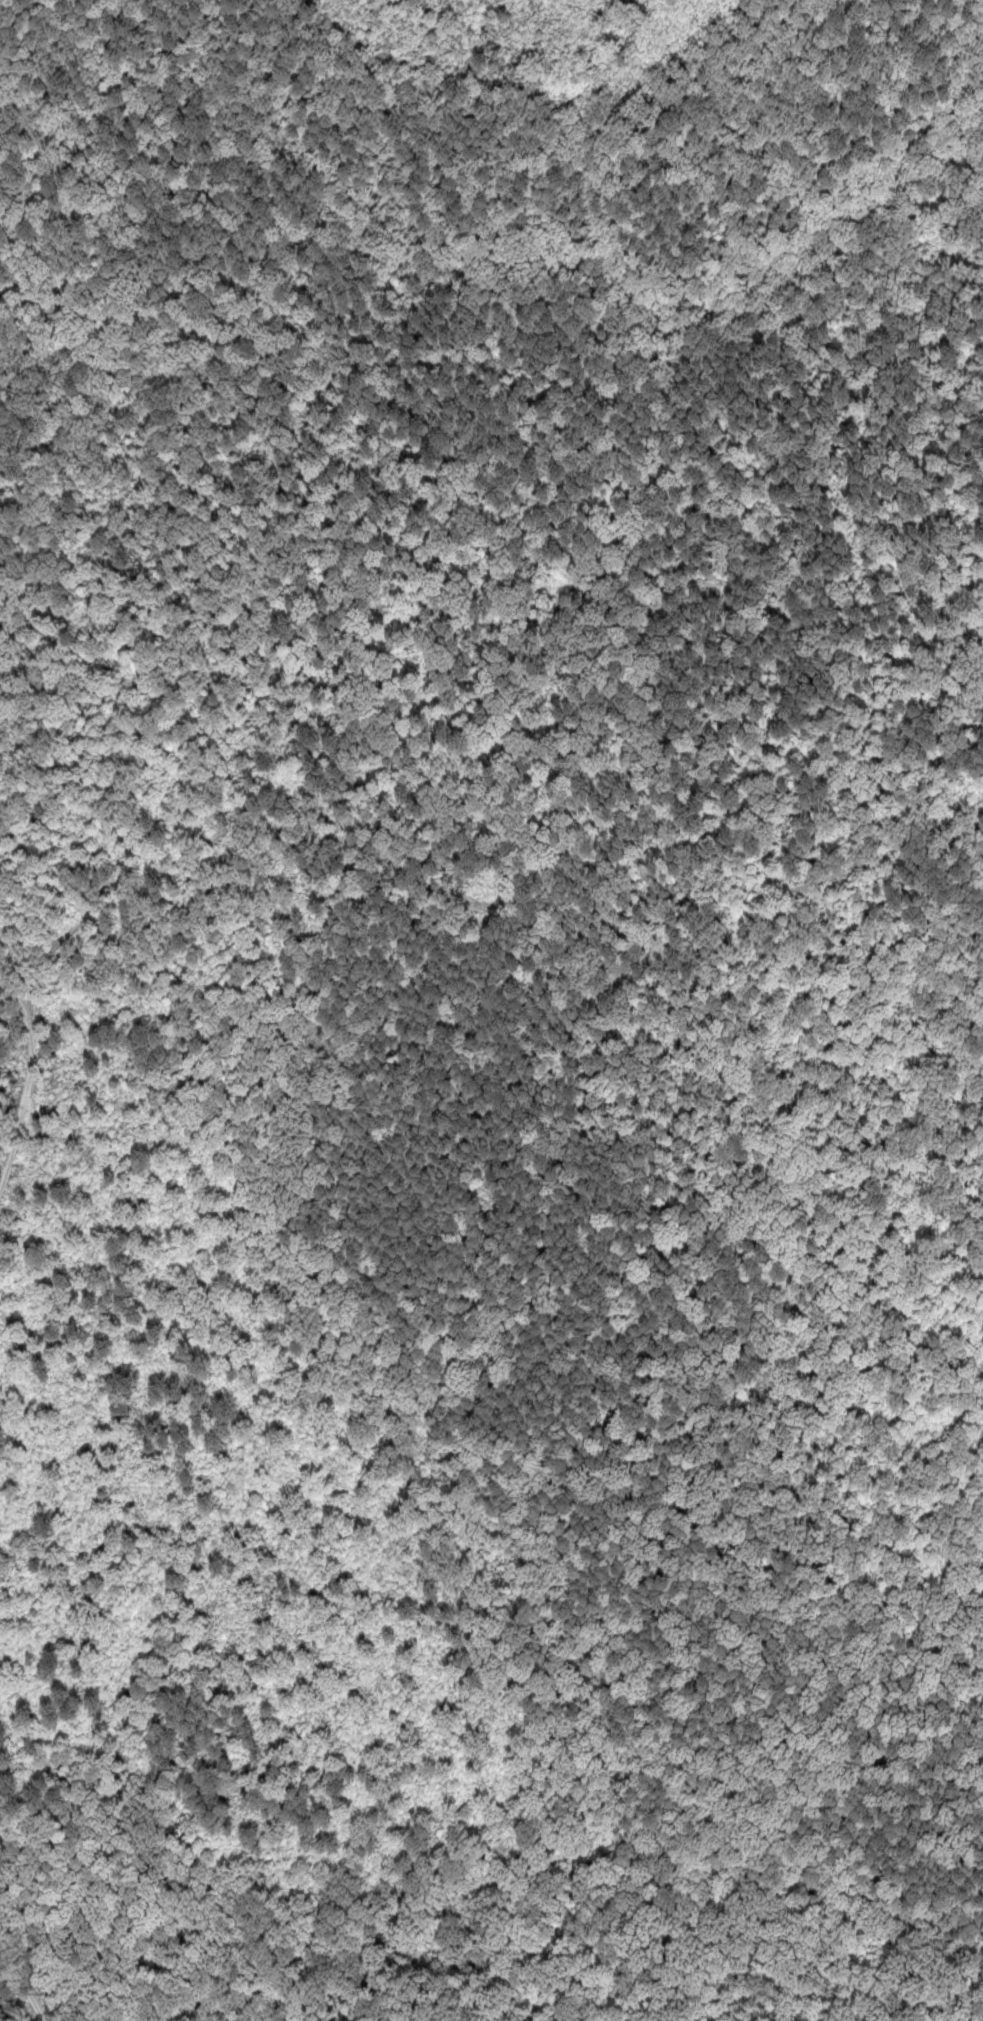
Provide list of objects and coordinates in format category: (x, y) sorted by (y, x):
road: (22, 1984)

